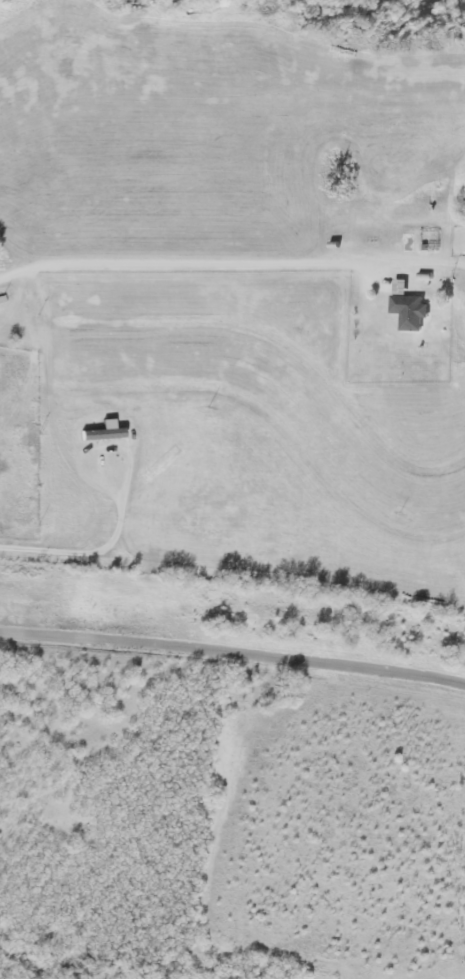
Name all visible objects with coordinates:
road: (180, 262)
building: (410, 307)
building: (105, 431)
road: (97, 550)
road: (233, 652)

